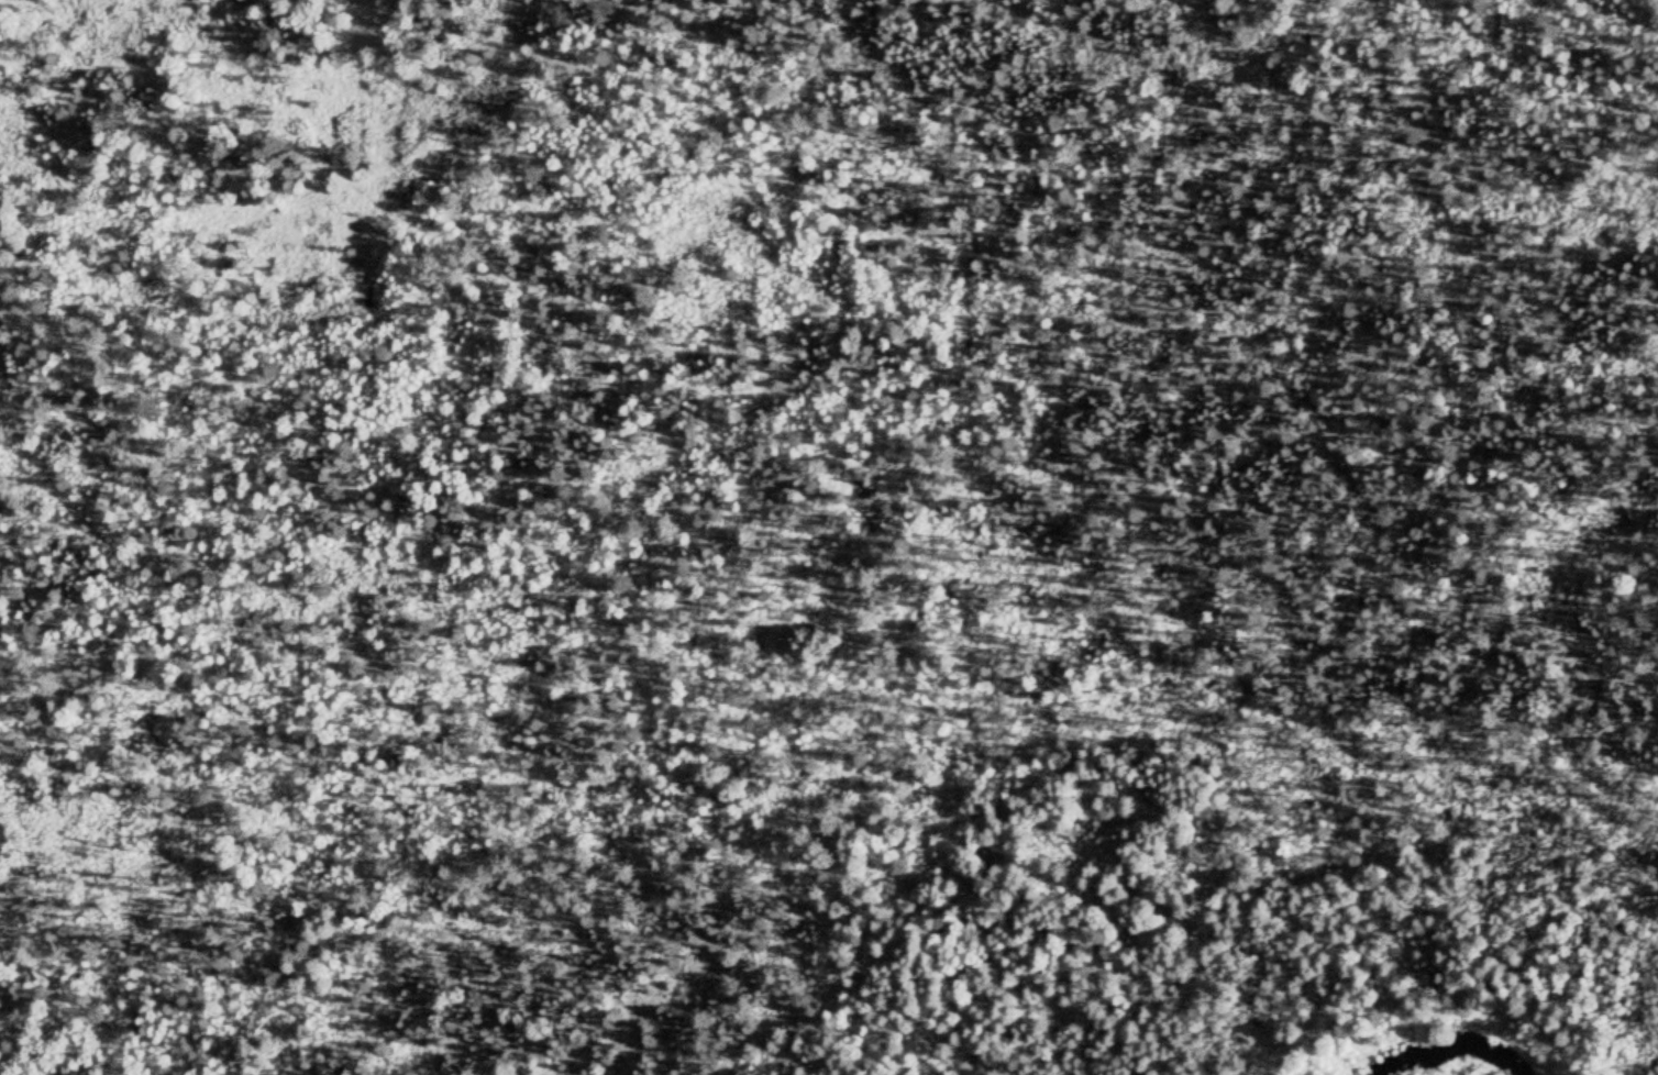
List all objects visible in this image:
river: (1453, 1054)

